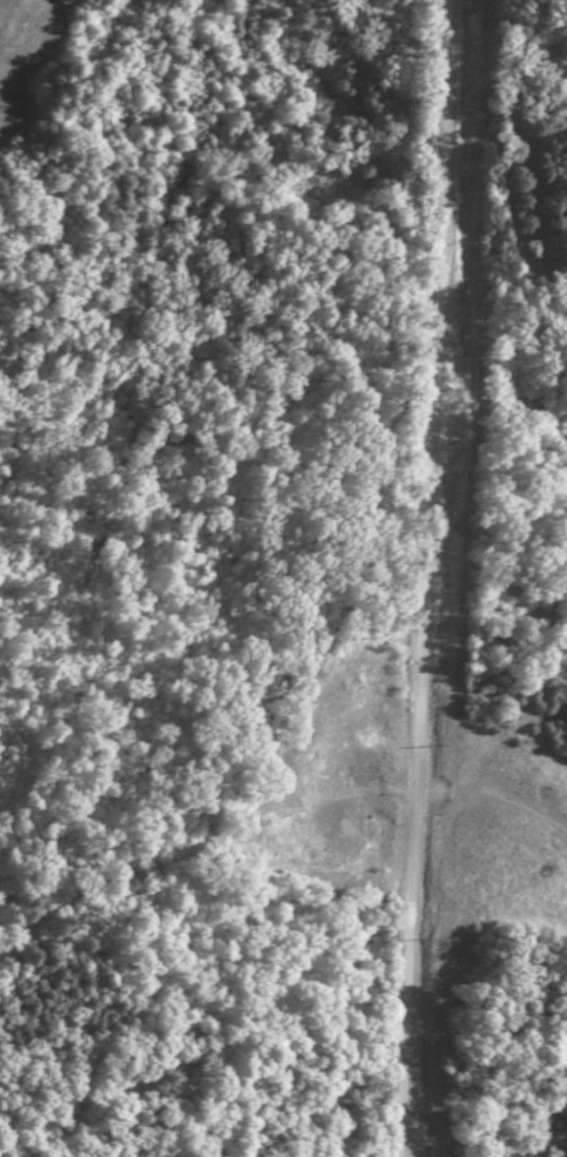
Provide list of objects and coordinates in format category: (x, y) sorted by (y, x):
road: (423, 577)

